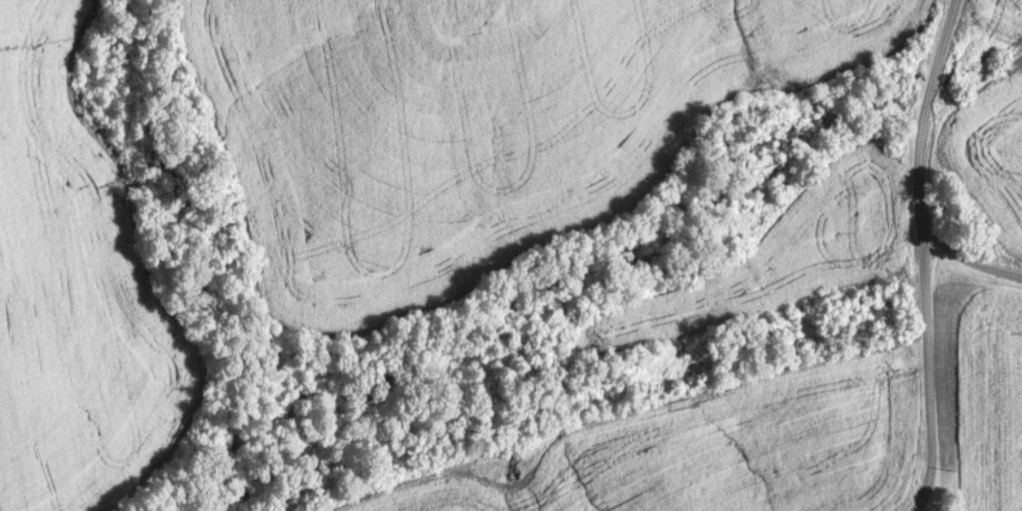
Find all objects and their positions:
crop: (483, 127)
road: (923, 256)
road: (968, 266)

